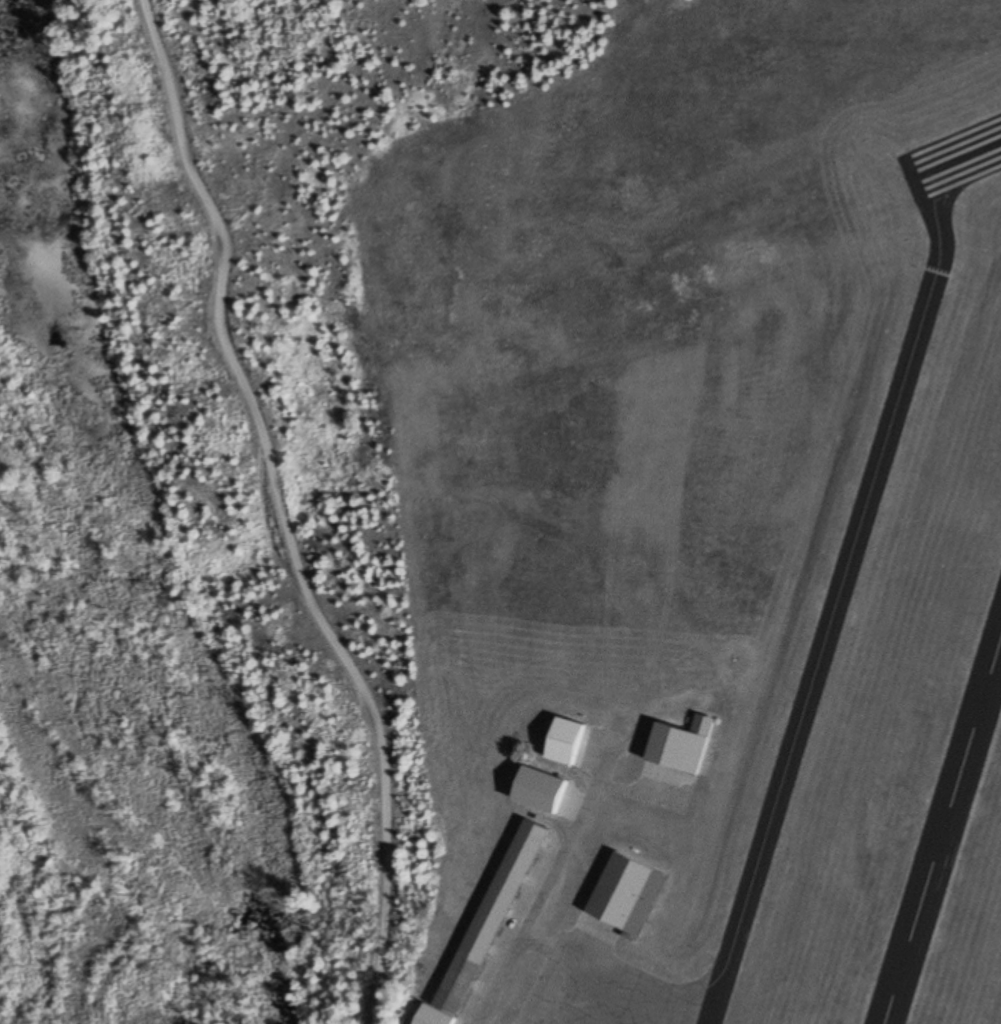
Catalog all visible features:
airport runway: (963, 157)
road: (283, 509)
airport: (705, 523)
airport taxiway: (838, 596)
airport hangar: (565, 742)
building: (565, 742)
airport hangar: (682, 747)
building: (682, 747)
airport runway: (943, 833)
road: (547, 883)
airport hangar: (627, 893)
building: (627, 893)
airport hangar: (492, 916)
building: (492, 916)
airport apron: (610, 992)
airport hangar: (434, 1016)
building: (434, 1016)

